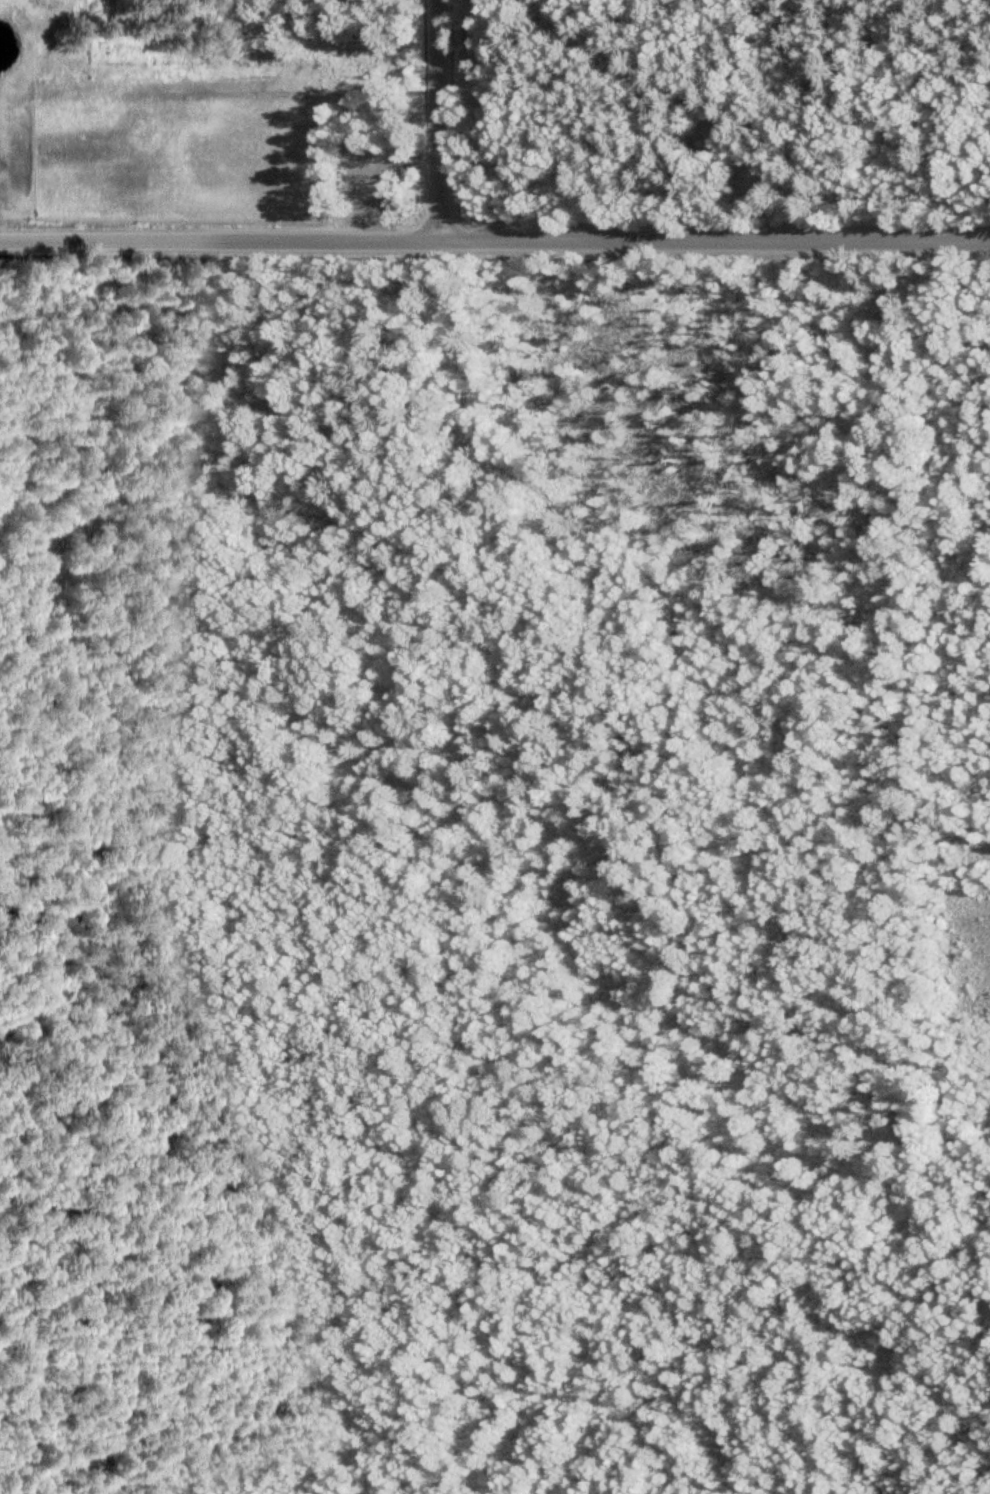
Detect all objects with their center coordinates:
road: (442, 121)
road: (495, 242)

